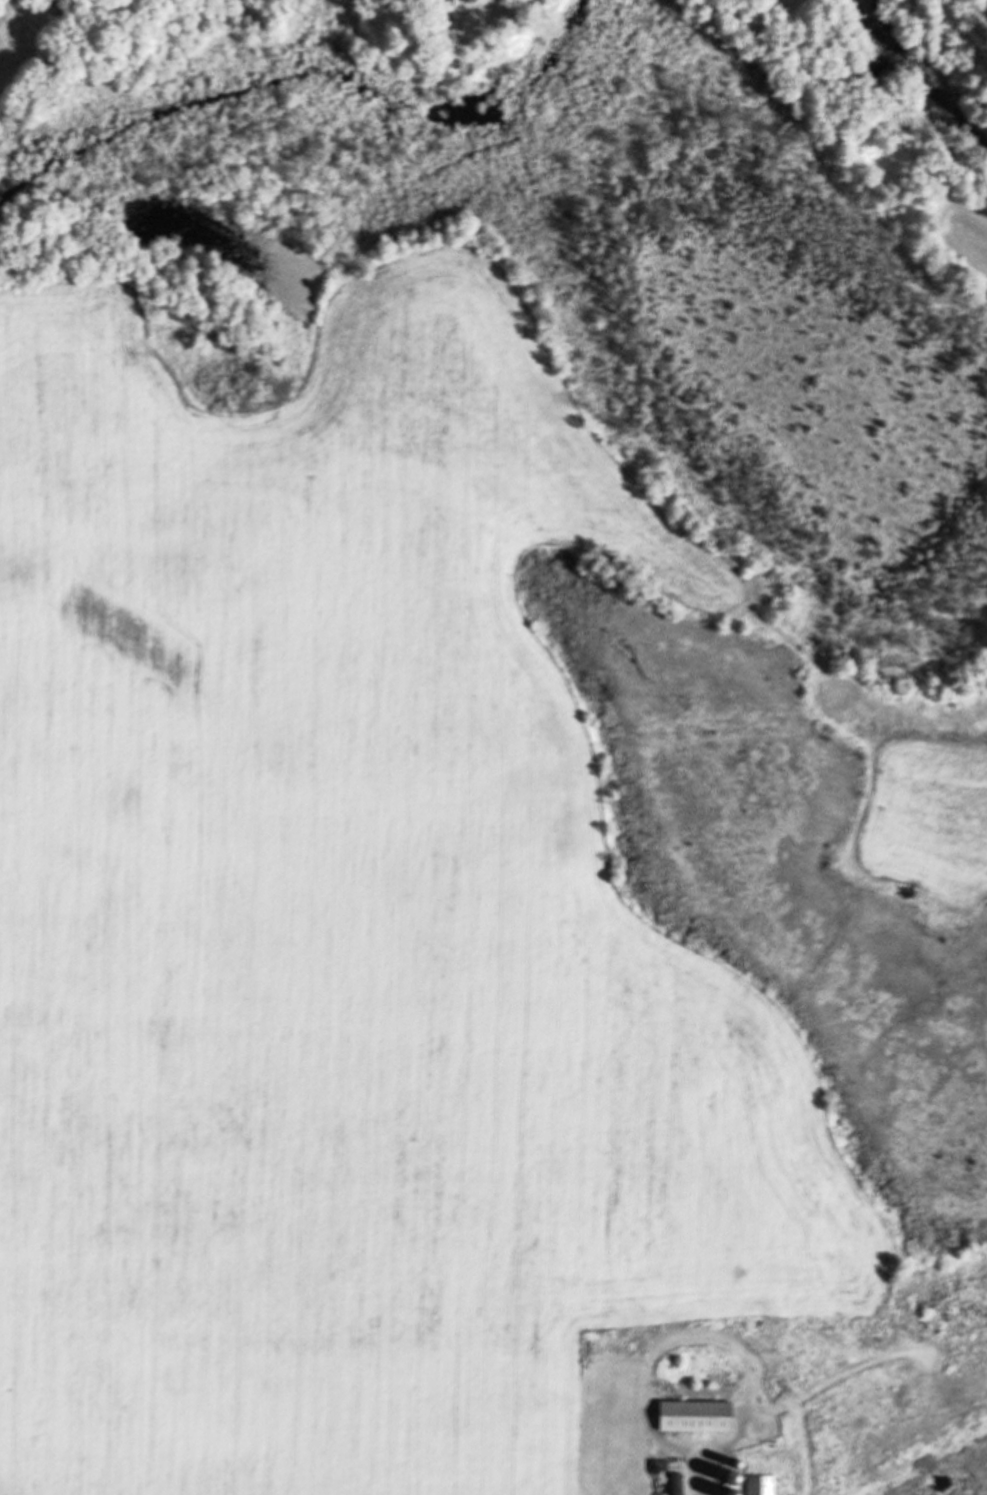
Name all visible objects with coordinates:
building: (694, 1407)
building: (672, 1484)
building: (759, 1484)

